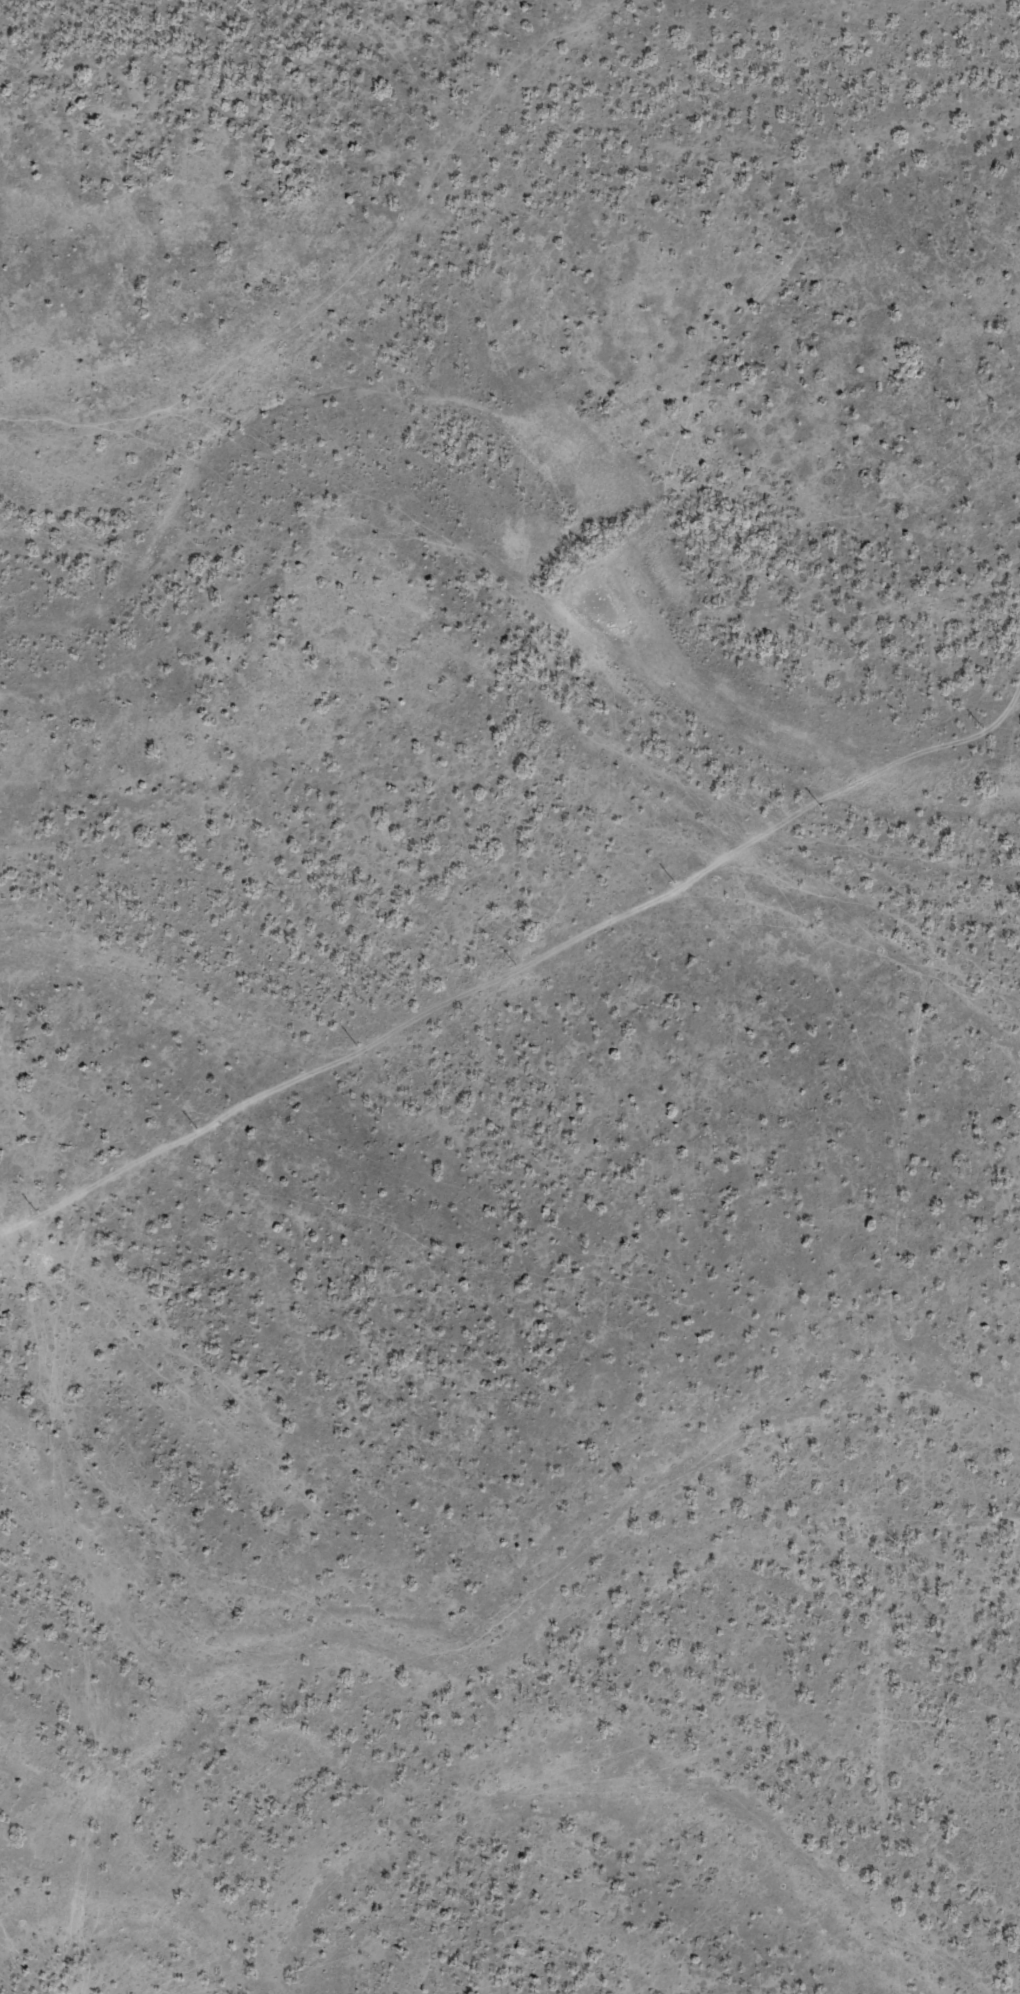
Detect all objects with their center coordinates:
road: (862, 1189)

